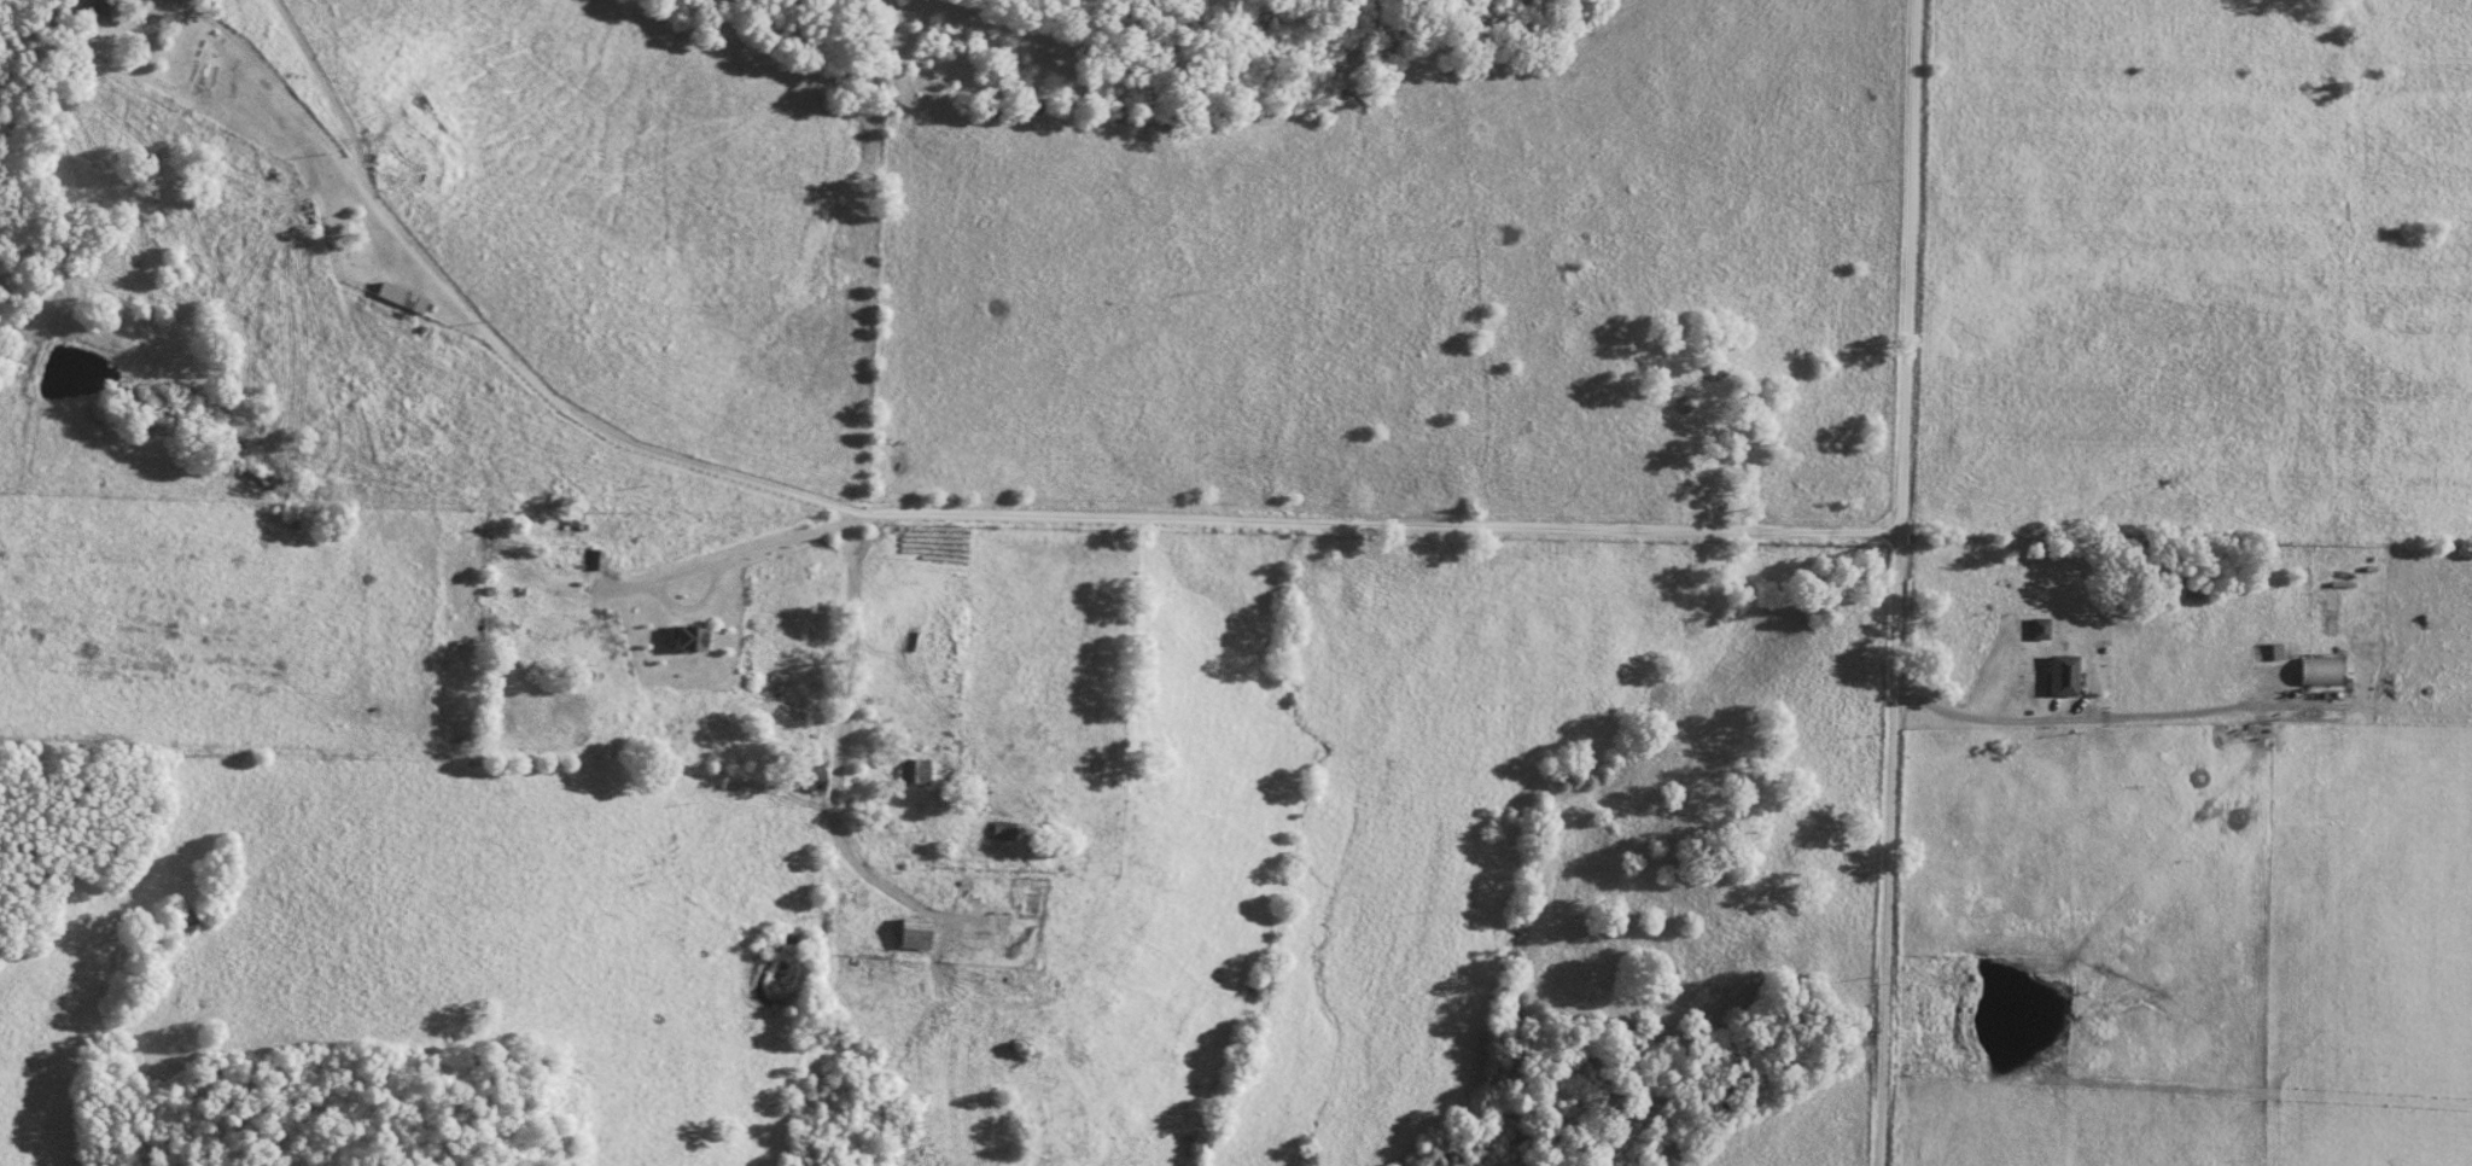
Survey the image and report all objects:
road: (181, 1)
road: (185, 1)
building: (100, 8)
road: (326, 84)
building: (404, 298)
road: (482, 323)
road: (1234, 523)
building: (570, 529)
building: (599, 559)
road: (1896, 582)
building: (511, 635)
building: (2064, 675)
road: (868, 740)
road: (846, 746)
building: (917, 771)
building: (1005, 830)
building: (917, 933)

